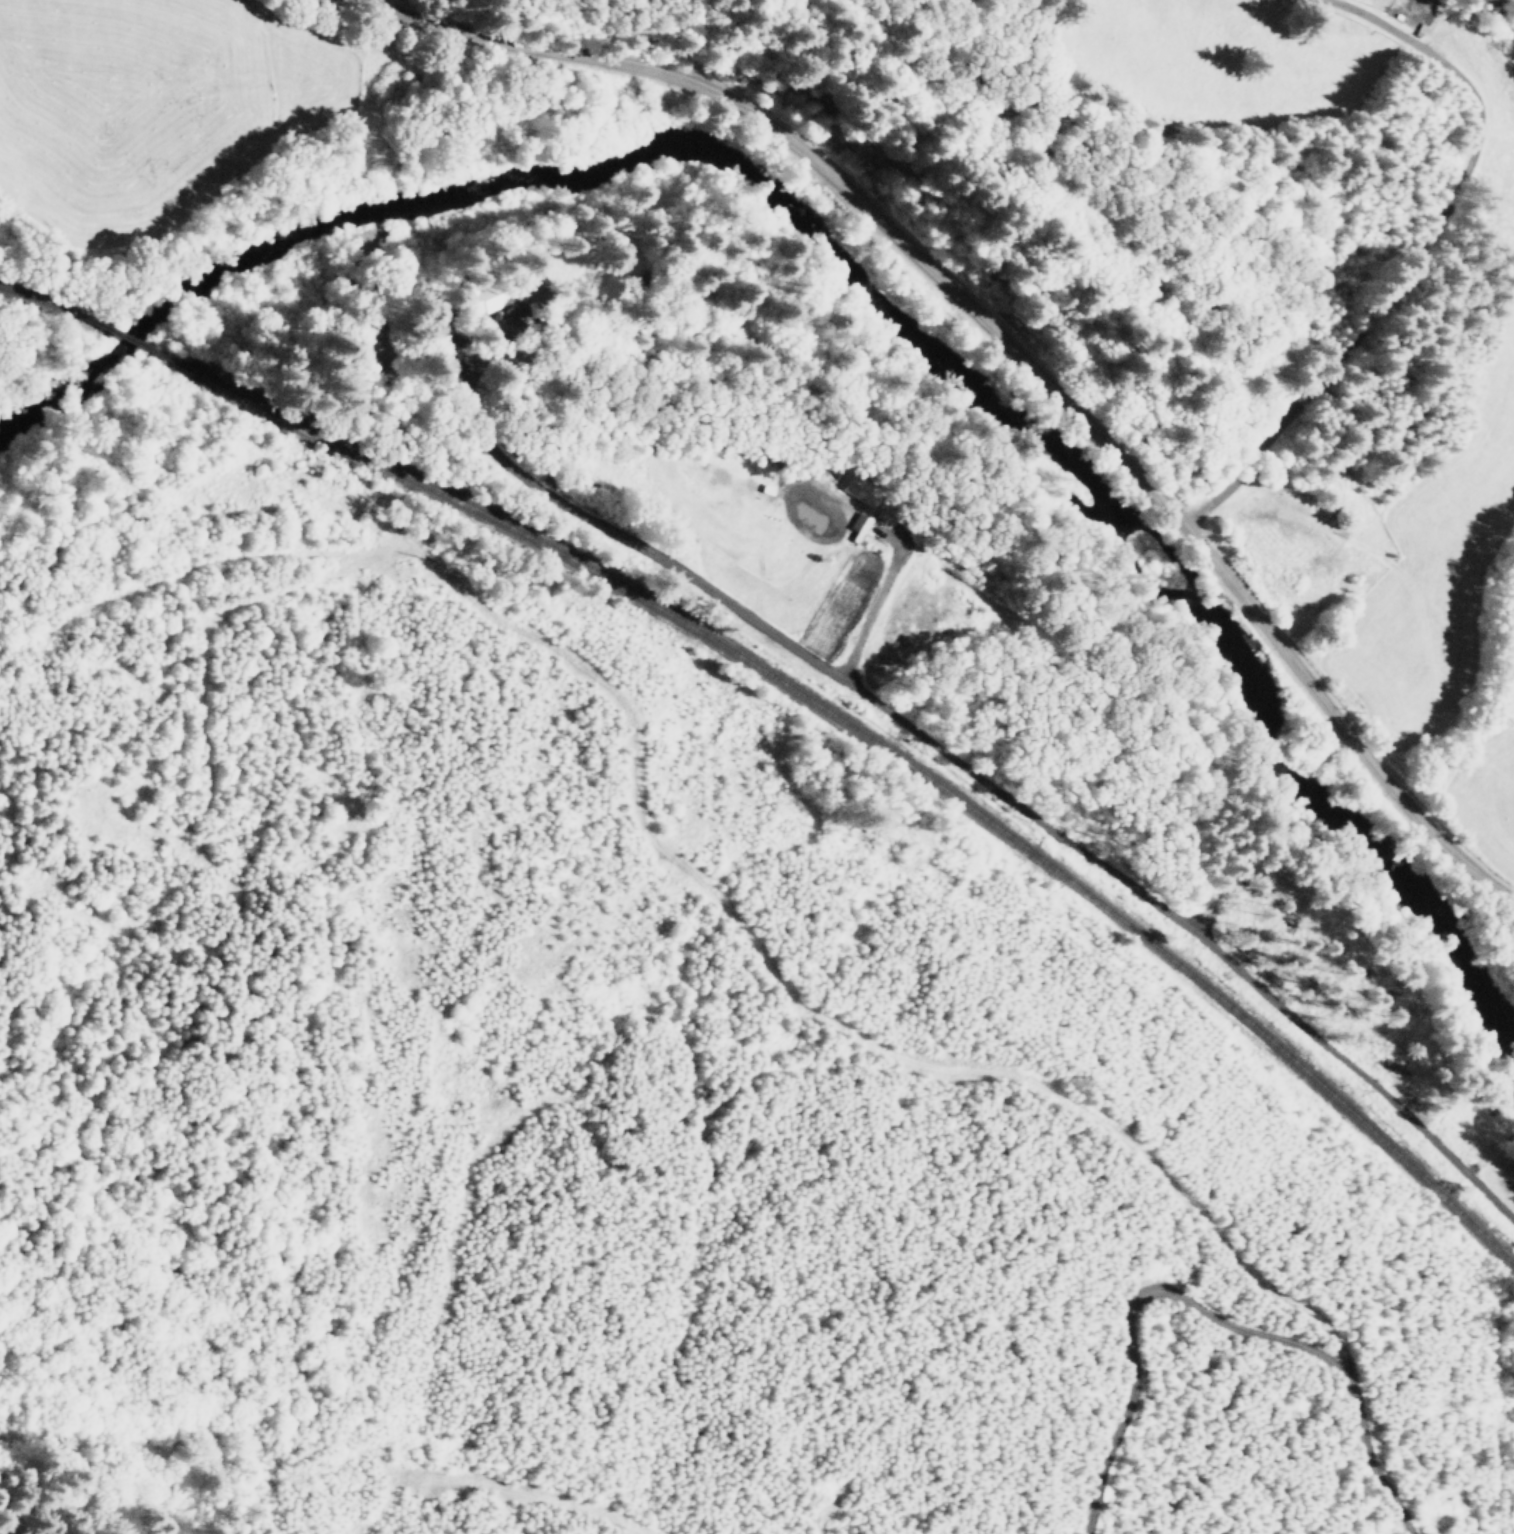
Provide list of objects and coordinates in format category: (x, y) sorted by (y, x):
road: (1417, 248)
railway: (36, 300)
river: (857, 307)
railway: (111, 332)
road: (1005, 351)
railway: (874, 746)
road: (1135, 888)
road: (530, 972)
road: (1003, 1087)
road: (1202, 1301)
road: (565, 1478)

